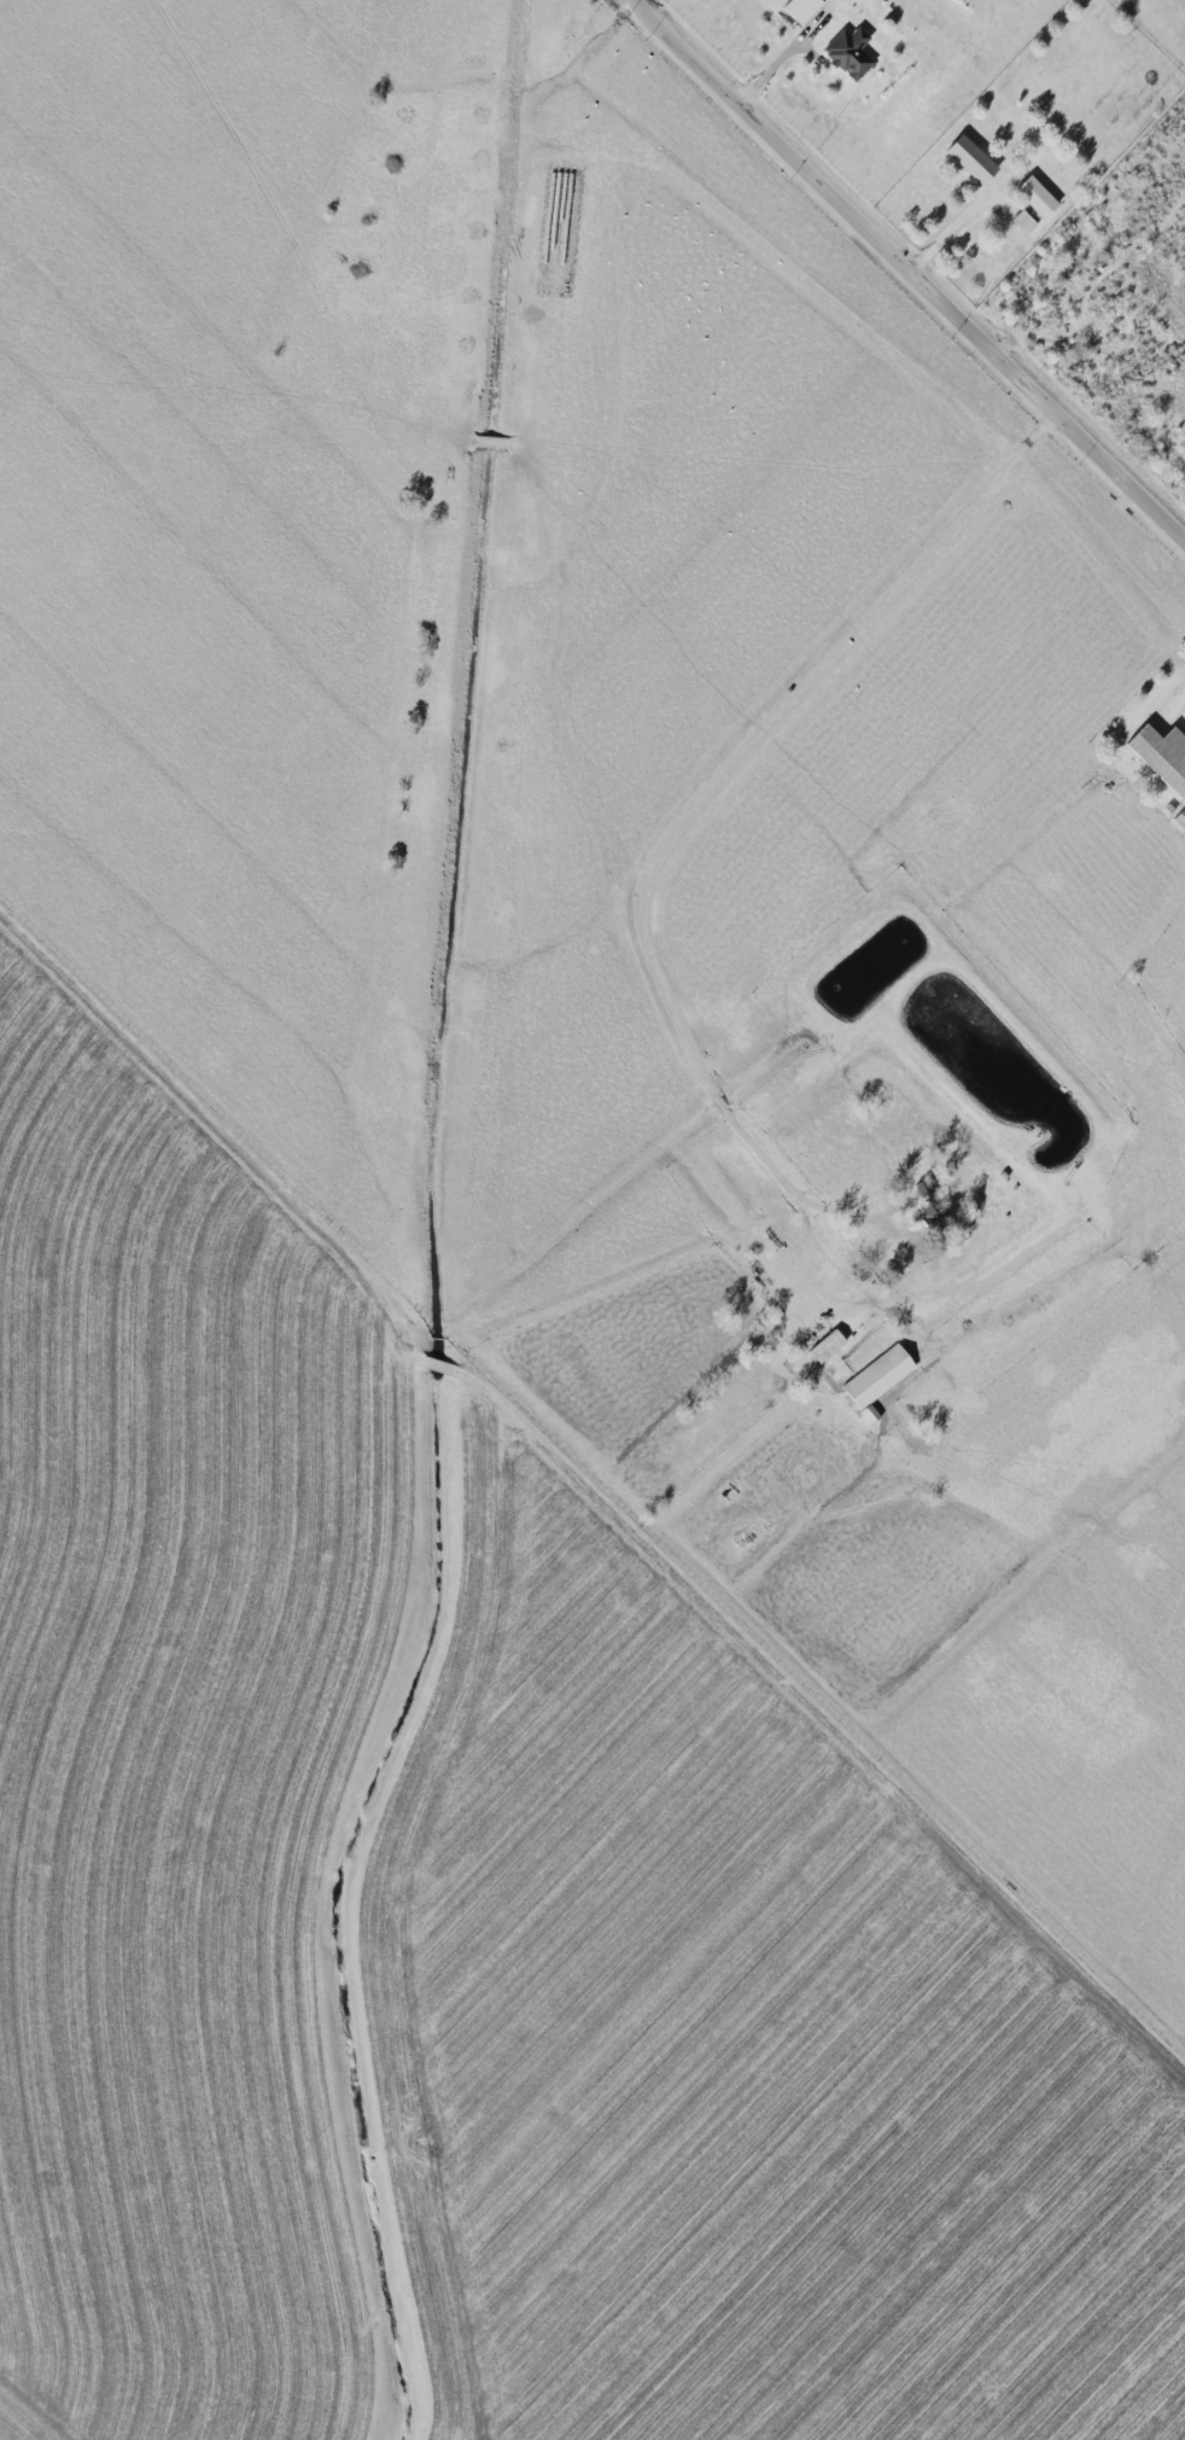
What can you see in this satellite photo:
building: (804, 8)
building: (851, 52)
building: (973, 159)
building: (1038, 197)
road: (955, 228)
road: (915, 266)
building: (1163, 756)
road: (650, 889)
building: (828, 1345)
building: (878, 1376)
road: (514, 1480)

